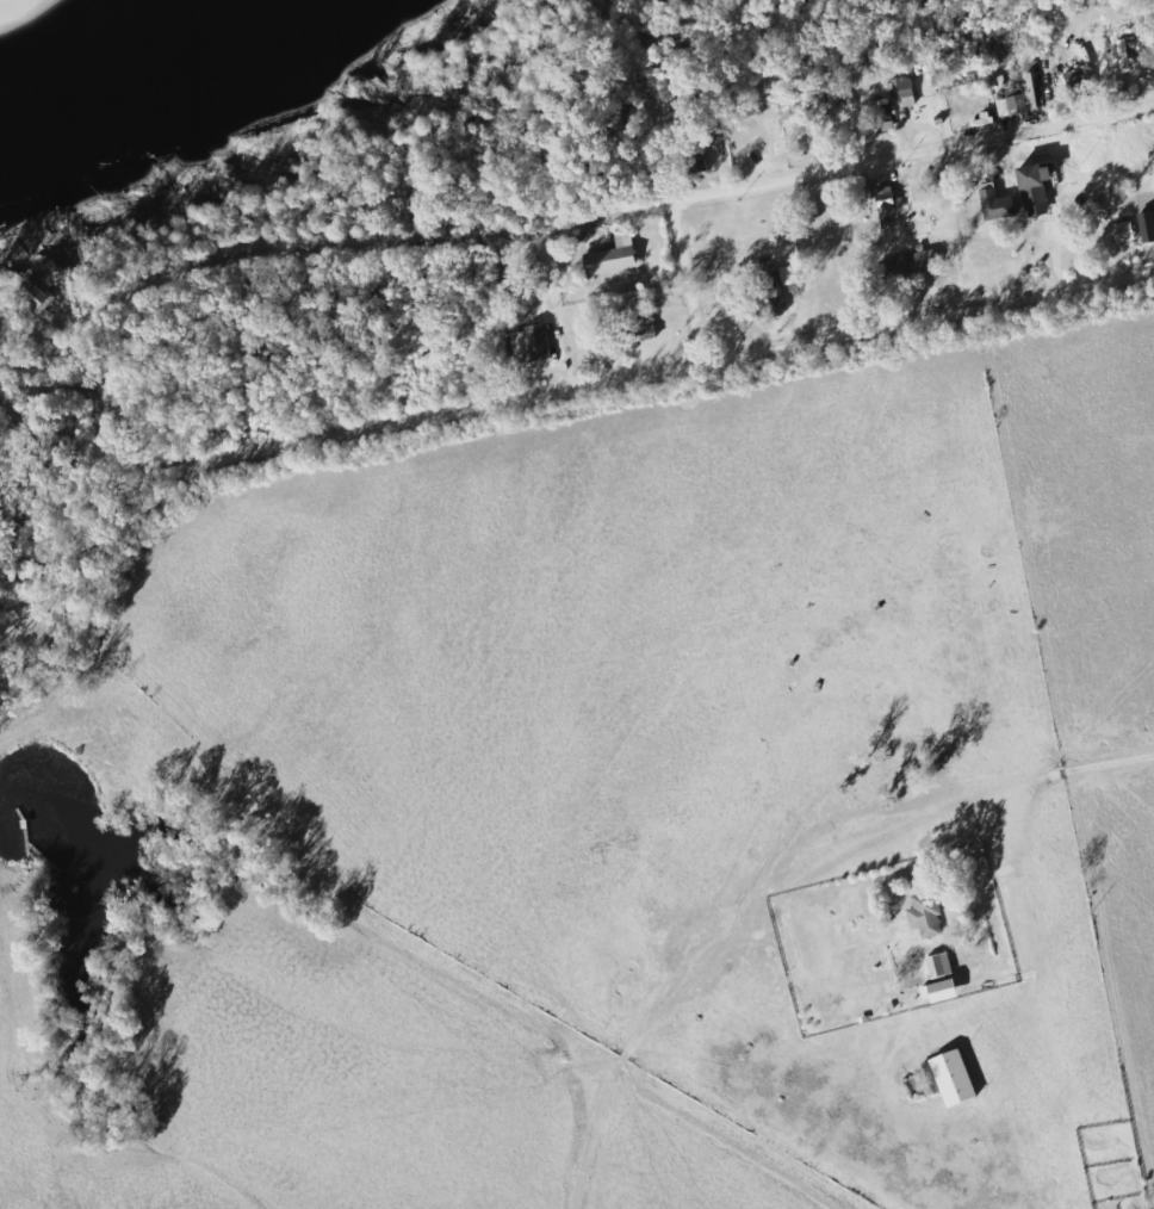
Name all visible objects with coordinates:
river: (72, 27)
building: (1124, 54)
building: (905, 91)
building: (1015, 103)
road: (926, 144)
road: (677, 173)
building: (1037, 188)
building: (998, 203)
building: (891, 206)
building: (1125, 231)
building: (614, 256)
building: (910, 265)
building: (789, 274)
building: (37, 296)
road: (49, 334)
building: (532, 343)
road: (589, 365)
road: (29, 387)
road: (970, 752)
building: (924, 907)
building: (942, 978)
road: (654, 999)
building: (955, 1077)

